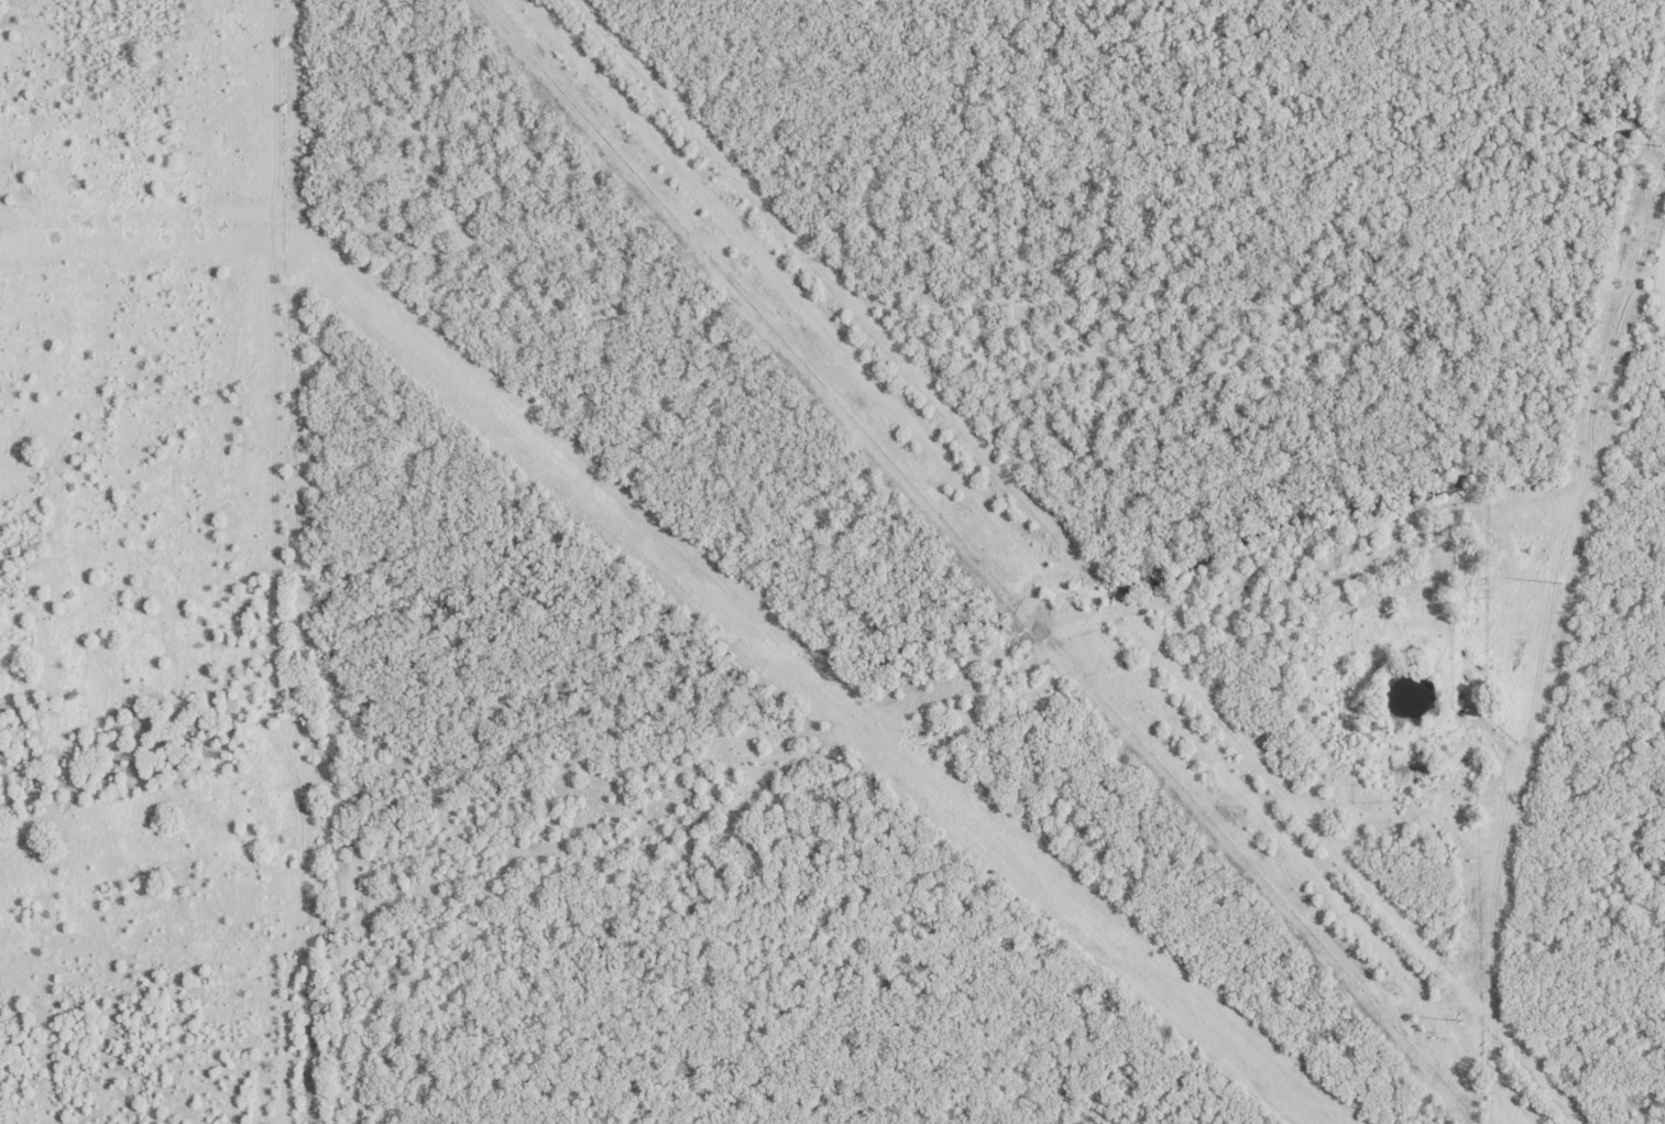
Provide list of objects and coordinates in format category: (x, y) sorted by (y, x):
power tower: (1656, 144)
power tower: (1558, 582)
power tower: (1459, 1021)

